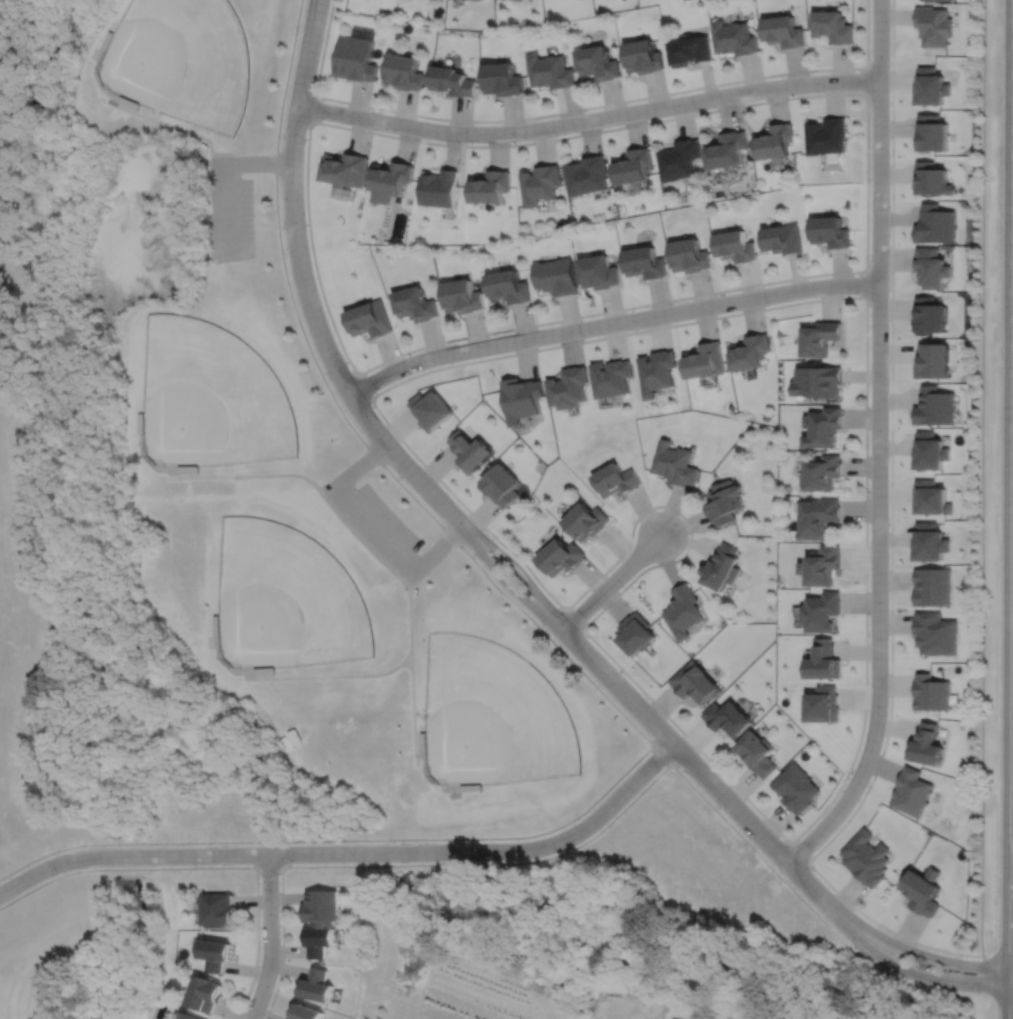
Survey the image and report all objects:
building: (937, 0)
road: (315, 6)
road: (317, 6)
building: (933, 26)
building: (833, 28)
building: (362, 32)
building: (784, 32)
building: (736, 39)
building: (691, 51)
building: (644, 58)
street lamp: (869, 58)
park: (179, 59)
building: (355, 59)
building: (598, 63)
building: (551, 72)
building: (404, 73)
building: (502, 80)
road: (866, 80)
building: (452, 82)
building: (930, 89)
road: (795, 96)
road: (313, 107)
road: (576, 109)
road: (149, 115)
road: (588, 119)
building: (931, 135)
building: (827, 137)
building: (776, 143)
building: (728, 152)
building: (680, 159)
road: (261, 160)
building: (634, 165)
building: (347, 167)
building: (588, 175)
building: (931, 177)
building: (392, 178)
building: (540, 184)
building: (490, 186)
building: (439, 187)
road: (232, 206)
parking lot: (229, 209)
building: (934, 223)
building: (830, 230)
building: (784, 237)
building: (736, 244)
building: (690, 253)
building: (645, 261)
street lamp: (868, 262)
building: (930, 266)
building: (599, 270)
building: (556, 275)
building: (508, 284)
road: (865, 284)
road: (307, 293)
building: (462, 294)
building: (416, 302)
street lamp: (675, 302)
street lamp: (769, 305)
building: (371, 318)
road: (610, 322)
street lamp: (494, 334)
building: (821, 336)
street lamp: (584, 338)
building: (752, 350)
street lamp: (344, 357)
building: (707, 359)
building: (932, 359)
street lamp: (423, 369)
building: (658, 370)
building: (613, 376)
building: (818, 380)
street lamp: (888, 382)
road: (363, 385)
building: (569, 386)
park: (207, 397)
building: (523, 397)
building: (934, 406)
building: (430, 409)
building: (824, 427)
road: (878, 445)
building: (469, 450)
building: (929, 451)
road: (363, 462)
building: (676, 463)
building: (824, 472)
road: (282, 473)
building: (617, 479)
road: (982, 480)
building: (501, 485)
road: (331, 487)
street lamp: (868, 495)
building: (930, 498)
building: (726, 501)
street lamp: (678, 514)
building: (820, 517)
park: (256, 518)
building: (587, 520)
parking lot: (377, 525)
road: (378, 525)
street lamp: (488, 533)
building: (930, 542)
road: (441, 546)
road: (891, 546)
building: (562, 556)
building: (823, 565)
building: (724, 567)
road: (520, 570)
road: (612, 581)
road: (506, 583)
road: (496, 585)
street lamp: (622, 585)
building: (932, 587)
park: (283, 597)
road: (865, 597)
street lamp: (888, 609)
building: (684, 611)
building: (822, 612)
road: (574, 618)
building: (637, 633)
building: (934, 633)
road: (412, 656)
building: (825, 662)
road: (301, 676)
building: (696, 682)
road: (618, 686)
building: (930, 694)
street lamp: (647, 699)
building: (824, 705)
park: (492, 715)
street lamp: (887, 716)
building: (729, 718)
road: (1012, 732)
building: (925, 746)
building: (758, 754)
street lamp: (659, 771)
road: (427, 776)
street lamp: (848, 777)
building: (797, 788)
building: (911, 792)
road: (753, 826)
road: (339, 839)
road: (351, 851)
road: (799, 852)
building: (865, 859)
road: (479, 863)
road: (201, 866)
street lamp: (815, 872)
street lamp: (57, 874)
building: (922, 891)
building: (321, 904)
building: (216, 907)
road: (268, 937)
building: (320, 939)
road: (281, 943)
building: (215, 952)
road: (918, 954)
street lamp: (962, 957)
road: (999, 958)
road: (911, 973)
road: (987, 980)
building: (316, 984)
building: (613, 986)
road: (1012, 990)
building: (205, 992)
street lamp: (956, 992)
road: (1012, 994)
road: (1001, 1001)
building: (306, 1011)
building: (188, 1015)
building: (675, 1018)

